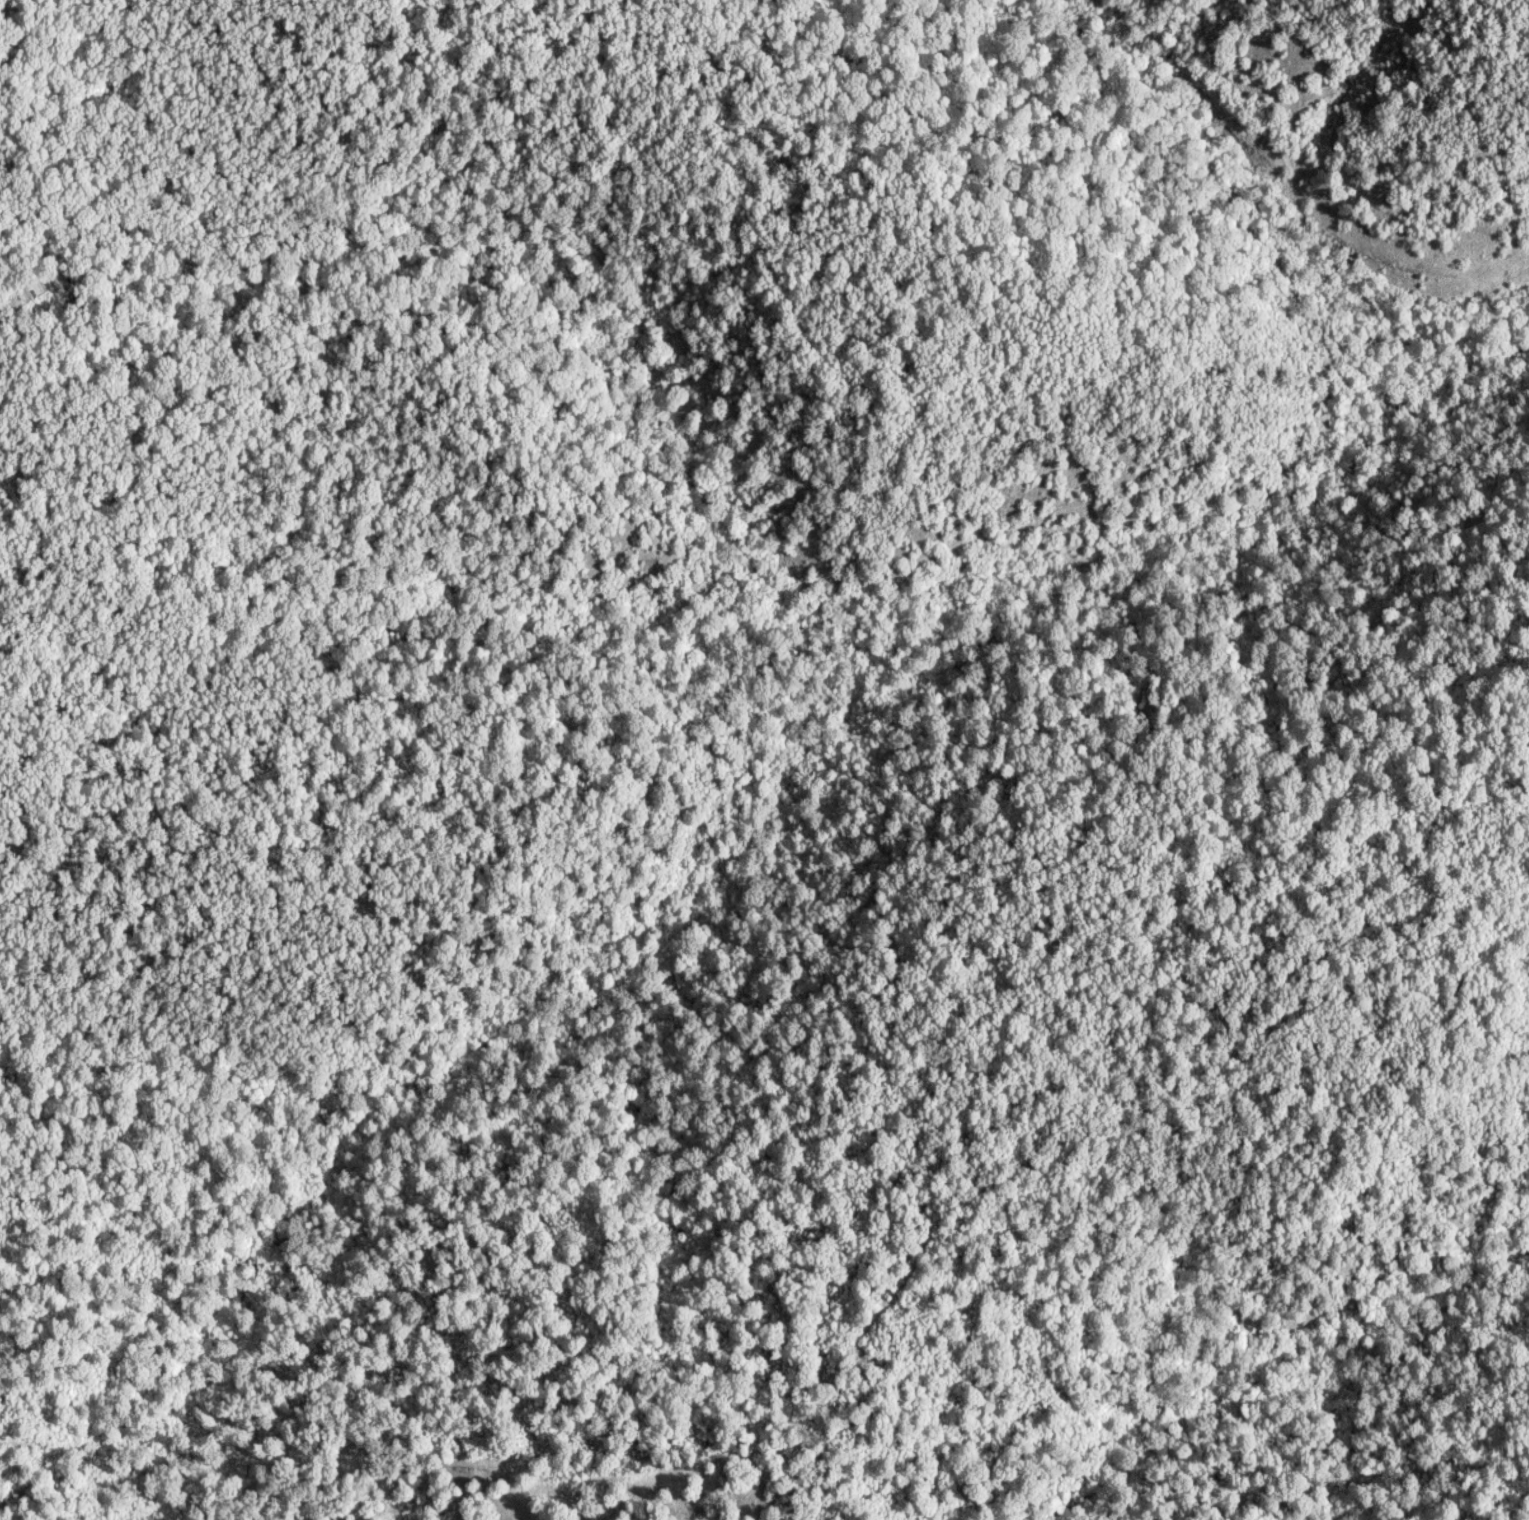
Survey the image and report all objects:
road: (488, 567)

